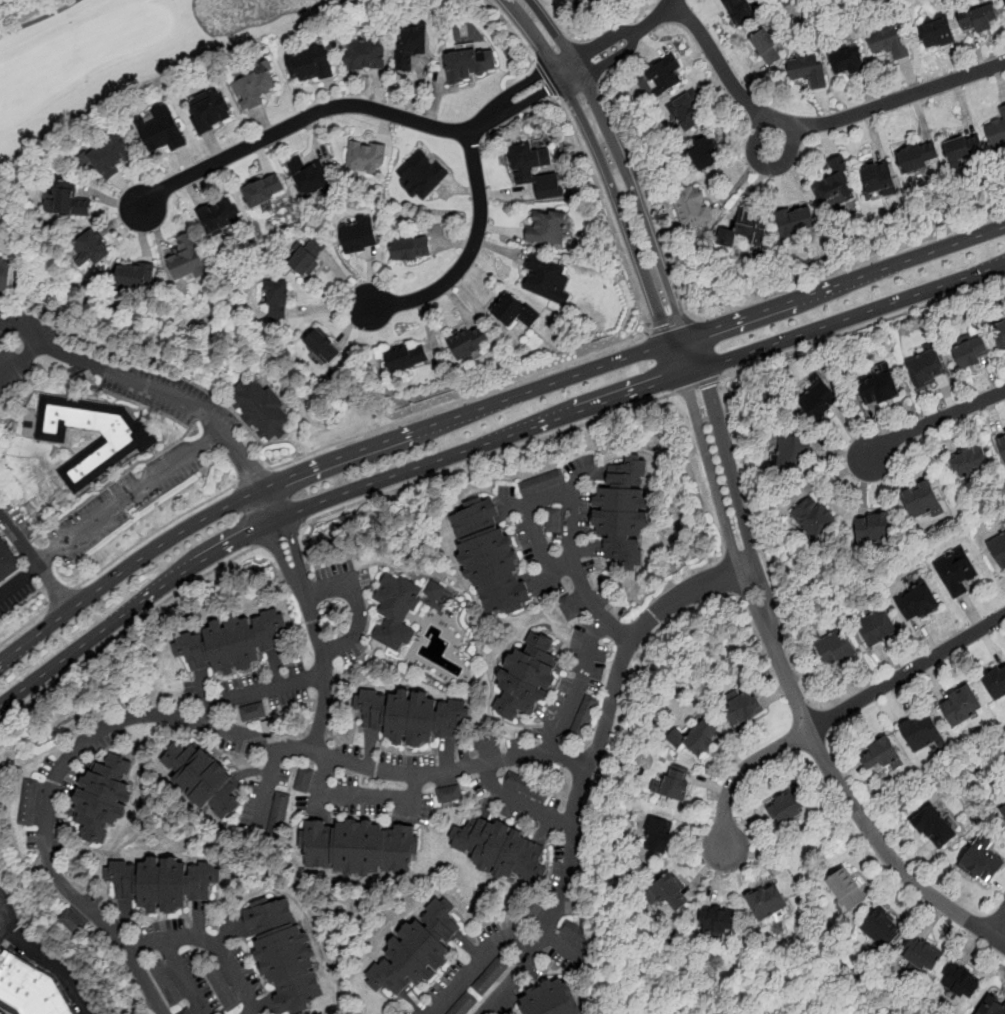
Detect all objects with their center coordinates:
building: (1004, 0)
building: (578, 3)
building: (739, 11)
road: (38, 18)
building: (979, 18)
road: (512, 29)
building: (936, 33)
road: (625, 39)
building: (888, 42)
building: (410, 47)
building: (766, 47)
building: (365, 54)
park: (116, 56)
building: (847, 61)
building: (309, 63)
building: (470, 64)
building: (807, 71)
road: (546, 77)
building: (662, 77)
building: (255, 85)
road: (353, 105)
building: (210, 110)
building: (686, 110)
road: (816, 123)
building: (160, 131)
building: (997, 131)
building: (965, 147)
building: (704, 153)
building: (111, 156)
building: (912, 157)
building: (365, 159)
building: (526, 163)
building: (421, 176)
building: (309, 178)
building: (878, 178)
road: (619, 179)
building: (834, 183)
building: (549, 186)
building: (263, 191)
building: (67, 199)
building: (691, 208)
road: (608, 212)
building: (219, 217)
building: (796, 221)
building: (546, 228)
building: (746, 230)
building: (358, 236)
building: (92, 249)
road: (471, 249)
building: (410, 250)
building: (304, 257)
building: (185, 262)
road: (850, 265)
building: (4, 276)
building: (135, 277)
building: (545, 280)
building: (277, 302)
building: (514, 311)
road: (672, 326)
road: (861, 327)
road: (21, 329)
building: (1001, 335)
building: (469, 343)
building: (321, 346)
building: (972, 353)
building: (407, 358)
building: (880, 367)
building: (927, 369)
road: (143, 385)
road: (697, 385)
building: (880, 389)
road: (459, 400)
building: (819, 402)
road: (483, 409)
building: (262, 411)
road: (934, 420)
building: (1002, 444)
road: (482, 445)
building: (121, 448)
building: (793, 452)
road: (488, 456)
building: (970, 463)
road: (252, 475)
building: (560, 478)
building: (553, 480)
building: (546, 483)
building: (539, 485)
building: (532, 488)
building: (525, 490)
road: (130, 496)
building: (922, 501)
road: (571, 506)
parking lot: (112, 513)
building: (554, 514)
building: (623, 514)
building: (815, 519)
building: (553, 522)
building: (553, 530)
building: (875, 530)
road: (155, 532)
road: (278, 532)
building: (999, 550)
road: (36, 560)
building: (489, 560)
building: (6, 563)
building: (957, 572)
road: (21, 583)
building: (435, 592)
road: (62, 596)
parking lot: (18, 602)
road: (357, 602)
building: (566, 602)
building: (919, 605)
building: (570, 609)
building: (396, 612)
road: (311, 616)
building: (573, 616)
road: (23, 625)
road: (125, 629)
building: (877, 629)
road: (633, 639)
building: (230, 645)
building: (836, 649)
building: (527, 679)
building: (996, 686)
road: (578, 691)
road: (260, 693)
road: (793, 693)
building: (592, 703)
building: (962, 708)
building: (589, 710)
building: (744, 711)
building: (261, 712)
road: (837, 713)
building: (254, 714)
building: (246, 716)
road: (176, 717)
building: (586, 717)
building: (410, 718)
building: (582, 724)
building: (579, 731)
building: (923, 736)
building: (576, 738)
building: (702, 741)
building: (494, 742)
building: (487, 744)
building: (480, 745)
building: (882, 756)
building: (306, 774)
building: (202, 781)
building: (510, 781)
building: (304, 782)
building: (517, 784)
building: (31, 785)
building: (677, 785)
building: (523, 787)
road: (268, 790)
building: (302, 790)
building: (530, 790)
building: (30, 793)
building: (457, 794)
building: (537, 794)
building: (449, 796)
road: (361, 797)
building: (441, 797)
building: (544, 797)
building: (104, 798)
building: (283, 798)
building: (29, 800)
road: (518, 804)
building: (281, 806)
building: (28, 808)
building: (787, 809)
building: (1003, 812)
building: (279, 813)
building: (27, 815)
building: (278, 821)
building: (25, 822)
building: (276, 828)
building: (936, 829)
building: (274, 836)
building: (659, 837)
building: (358, 849)
building: (498, 849)
building: (983, 865)
building: (162, 886)
building: (847, 893)
building: (670, 894)
road: (561, 898)
building: (537, 904)
building: (768, 906)
building: (533, 911)
road: (6, 915)
building: (65, 918)
building: (530, 918)
road: (996, 921)
building: (71, 924)
building: (719, 924)
building: (77, 929)
building: (566, 929)
building: (883, 931)
building: (573, 933)
building: (579, 937)
building: (585, 941)
road: (210, 942)
building: (592, 945)
road: (566, 949)
building: (598, 950)
building: (416, 954)
building: (285, 956)
building: (923, 956)
road: (478, 962)
building: (504, 962)
road: (54, 963)
building: (500, 968)
building: (156, 969)
building: (212, 974)
building: (495, 974)
building: (160, 975)
road: (185, 977)
building: (216, 980)
building: (490, 980)
building: (163, 982)
building: (961, 984)
building: (484, 985)
building: (31, 987)
building: (220, 987)
building: (167, 988)
building: (480, 991)
building: (224, 994)
building: (171, 995)
building: (227, 1000)
building: (471, 1001)
building: (175, 1002)
building: (553, 1002)
building: (465, 1006)
building: (231, 1007)
building: (993, 1008)
building: (458, 1010)
building: (186, 1012)
building: (452, 1012)

